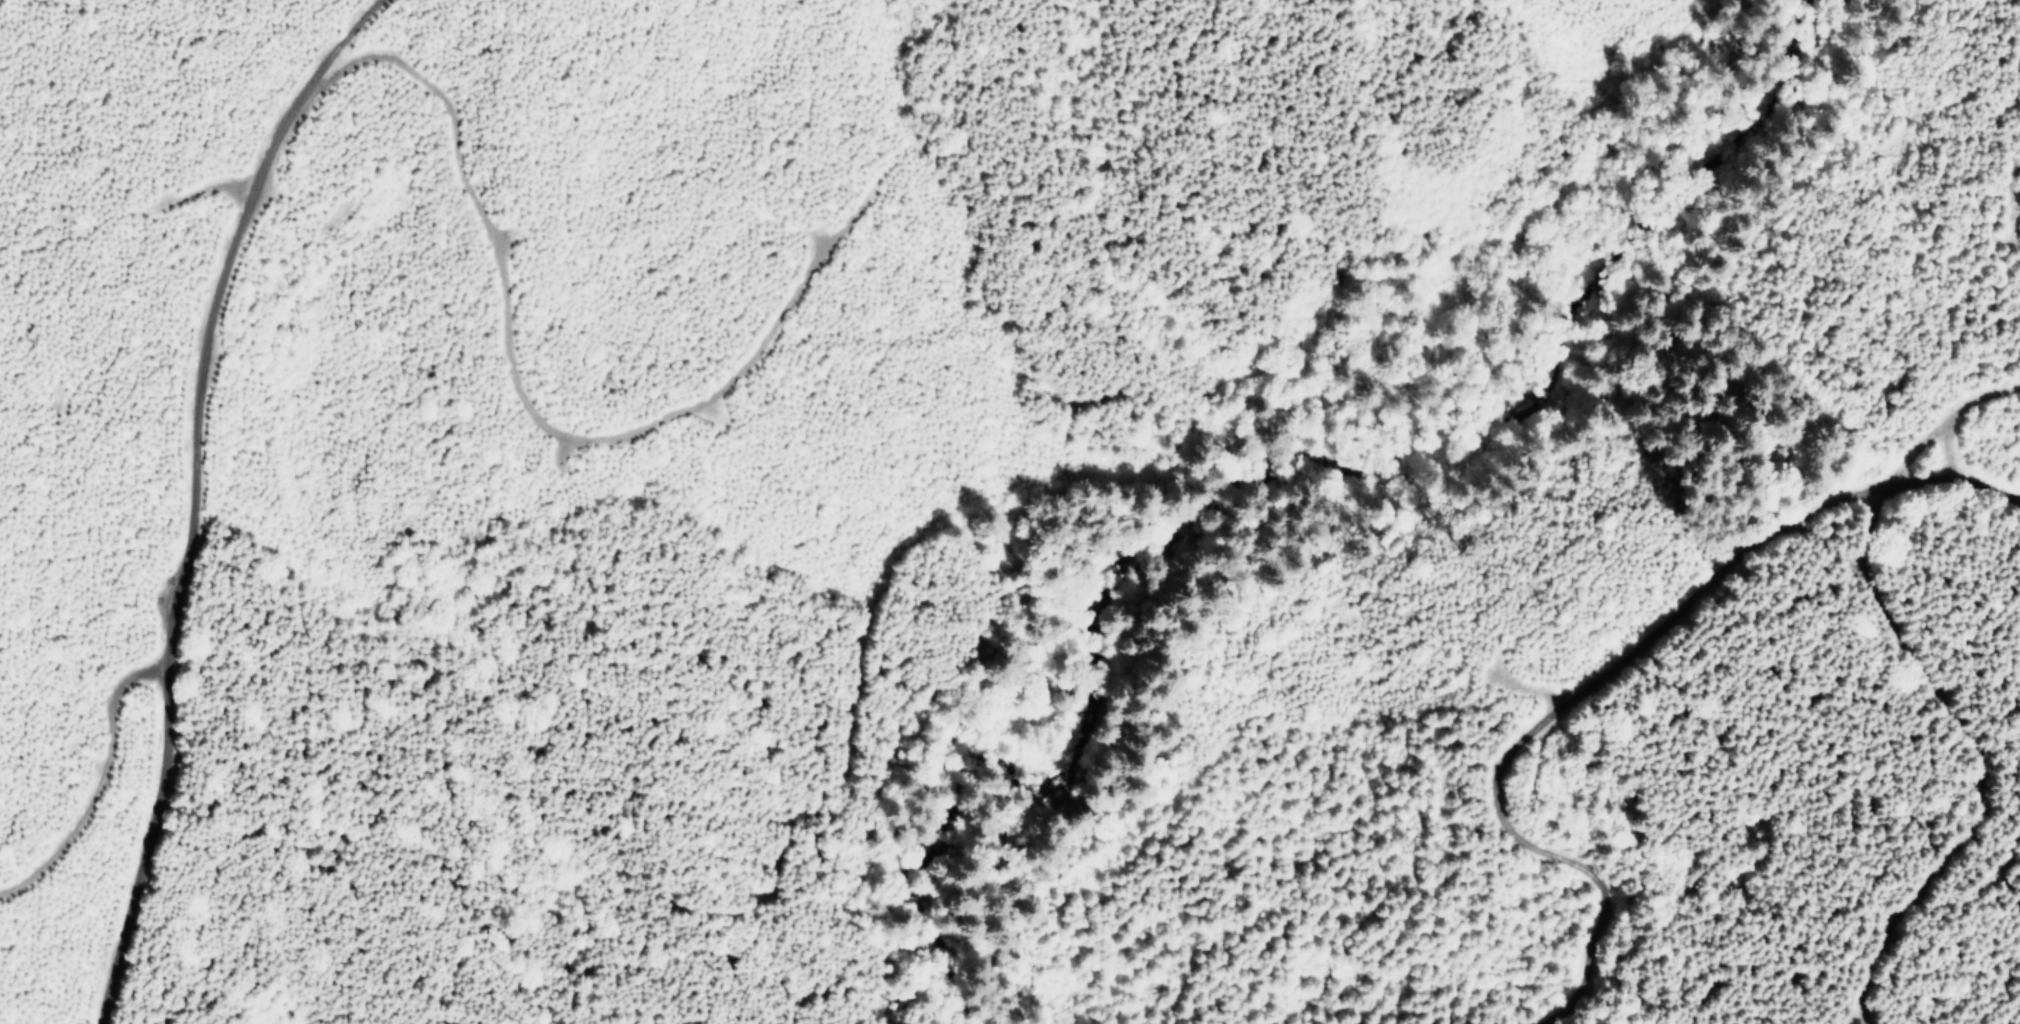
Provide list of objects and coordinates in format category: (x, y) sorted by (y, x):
road: (232, 485)
road: (160, 836)

